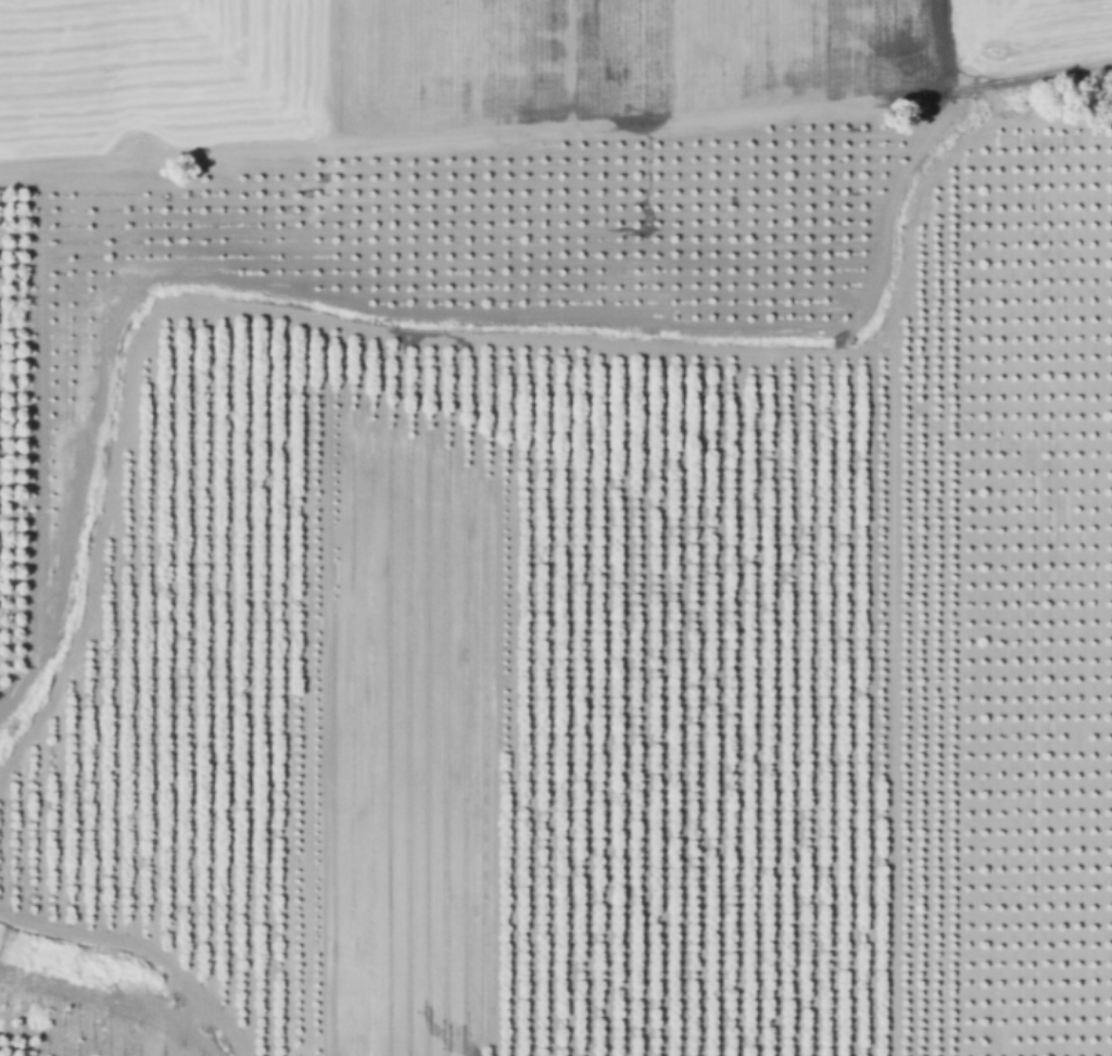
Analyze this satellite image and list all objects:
crop: (997, 693)
building: (39, 817)

